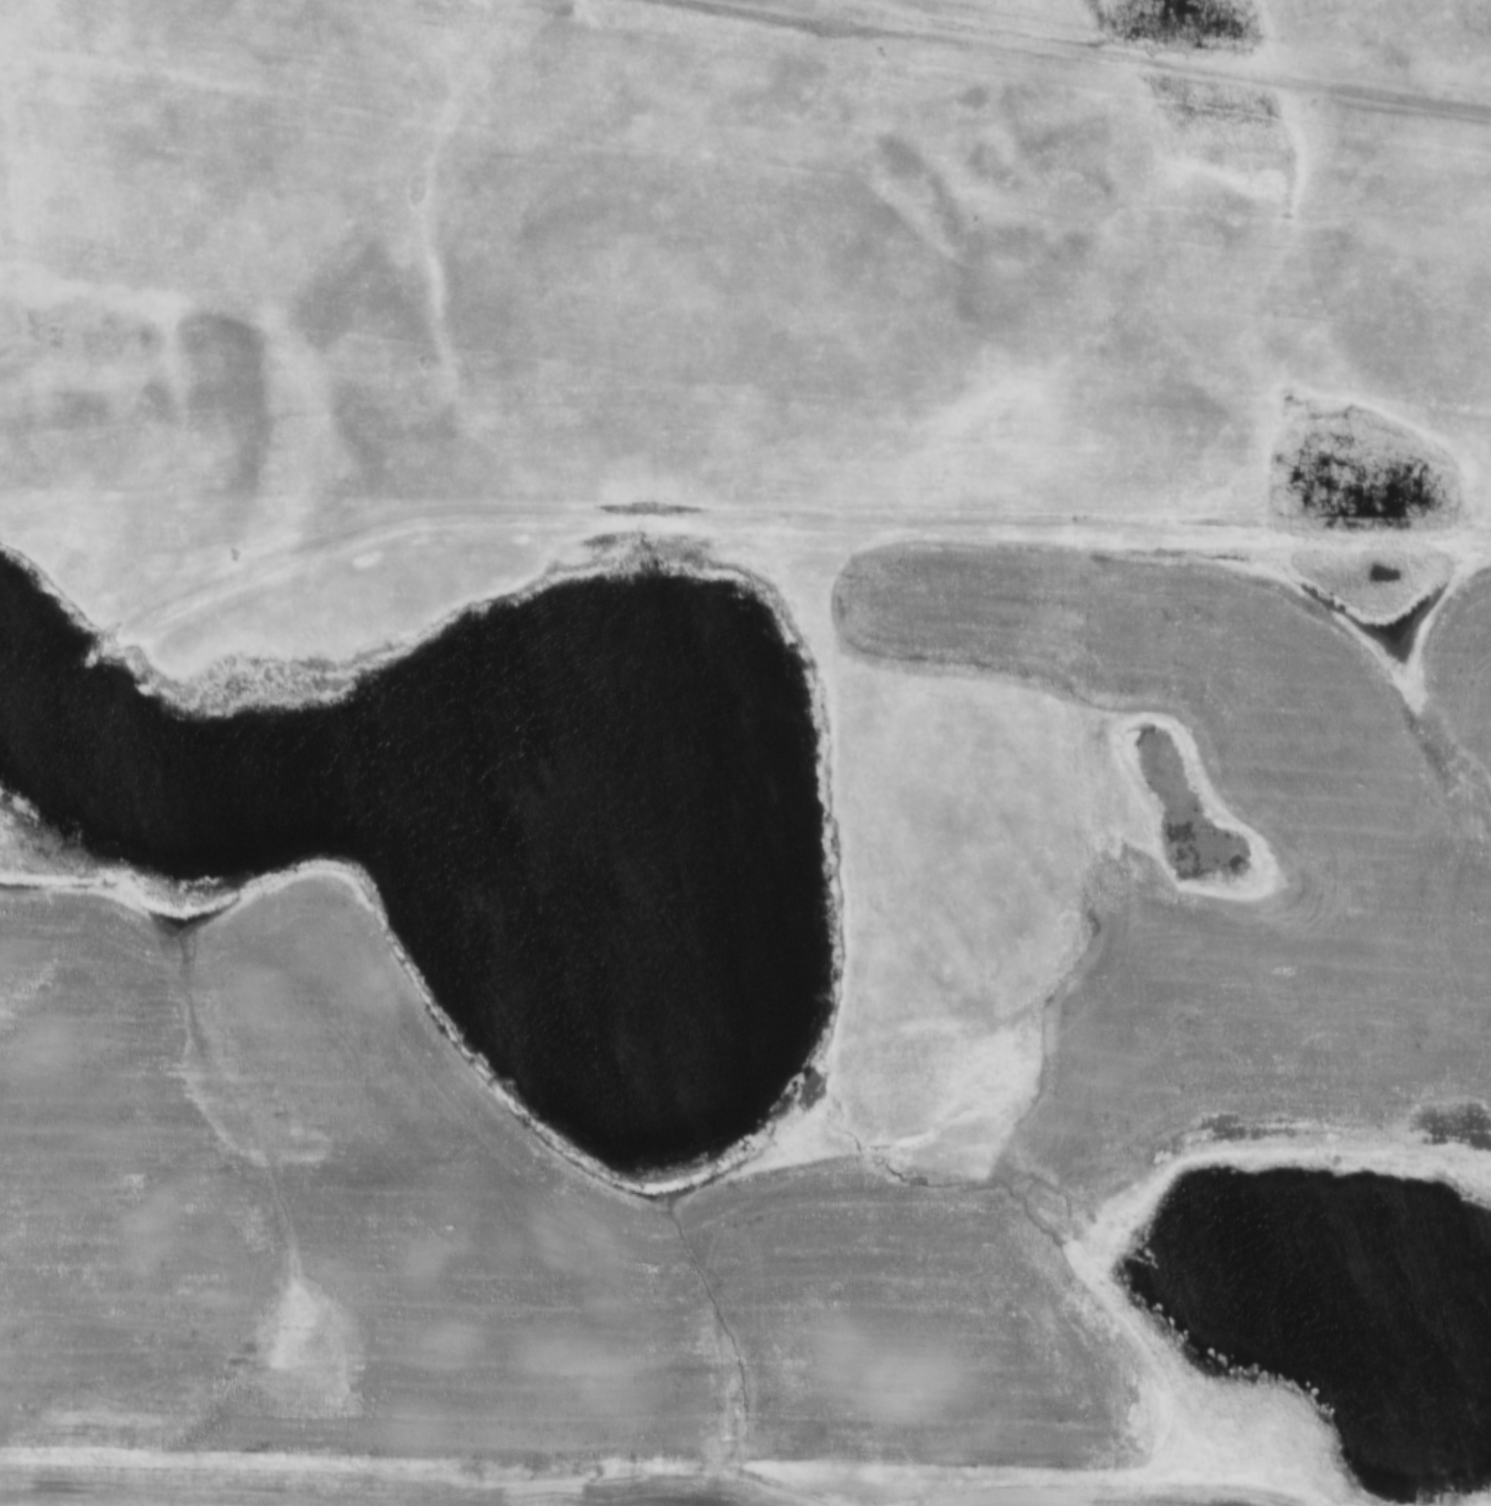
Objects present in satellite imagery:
road: (717, 533)

